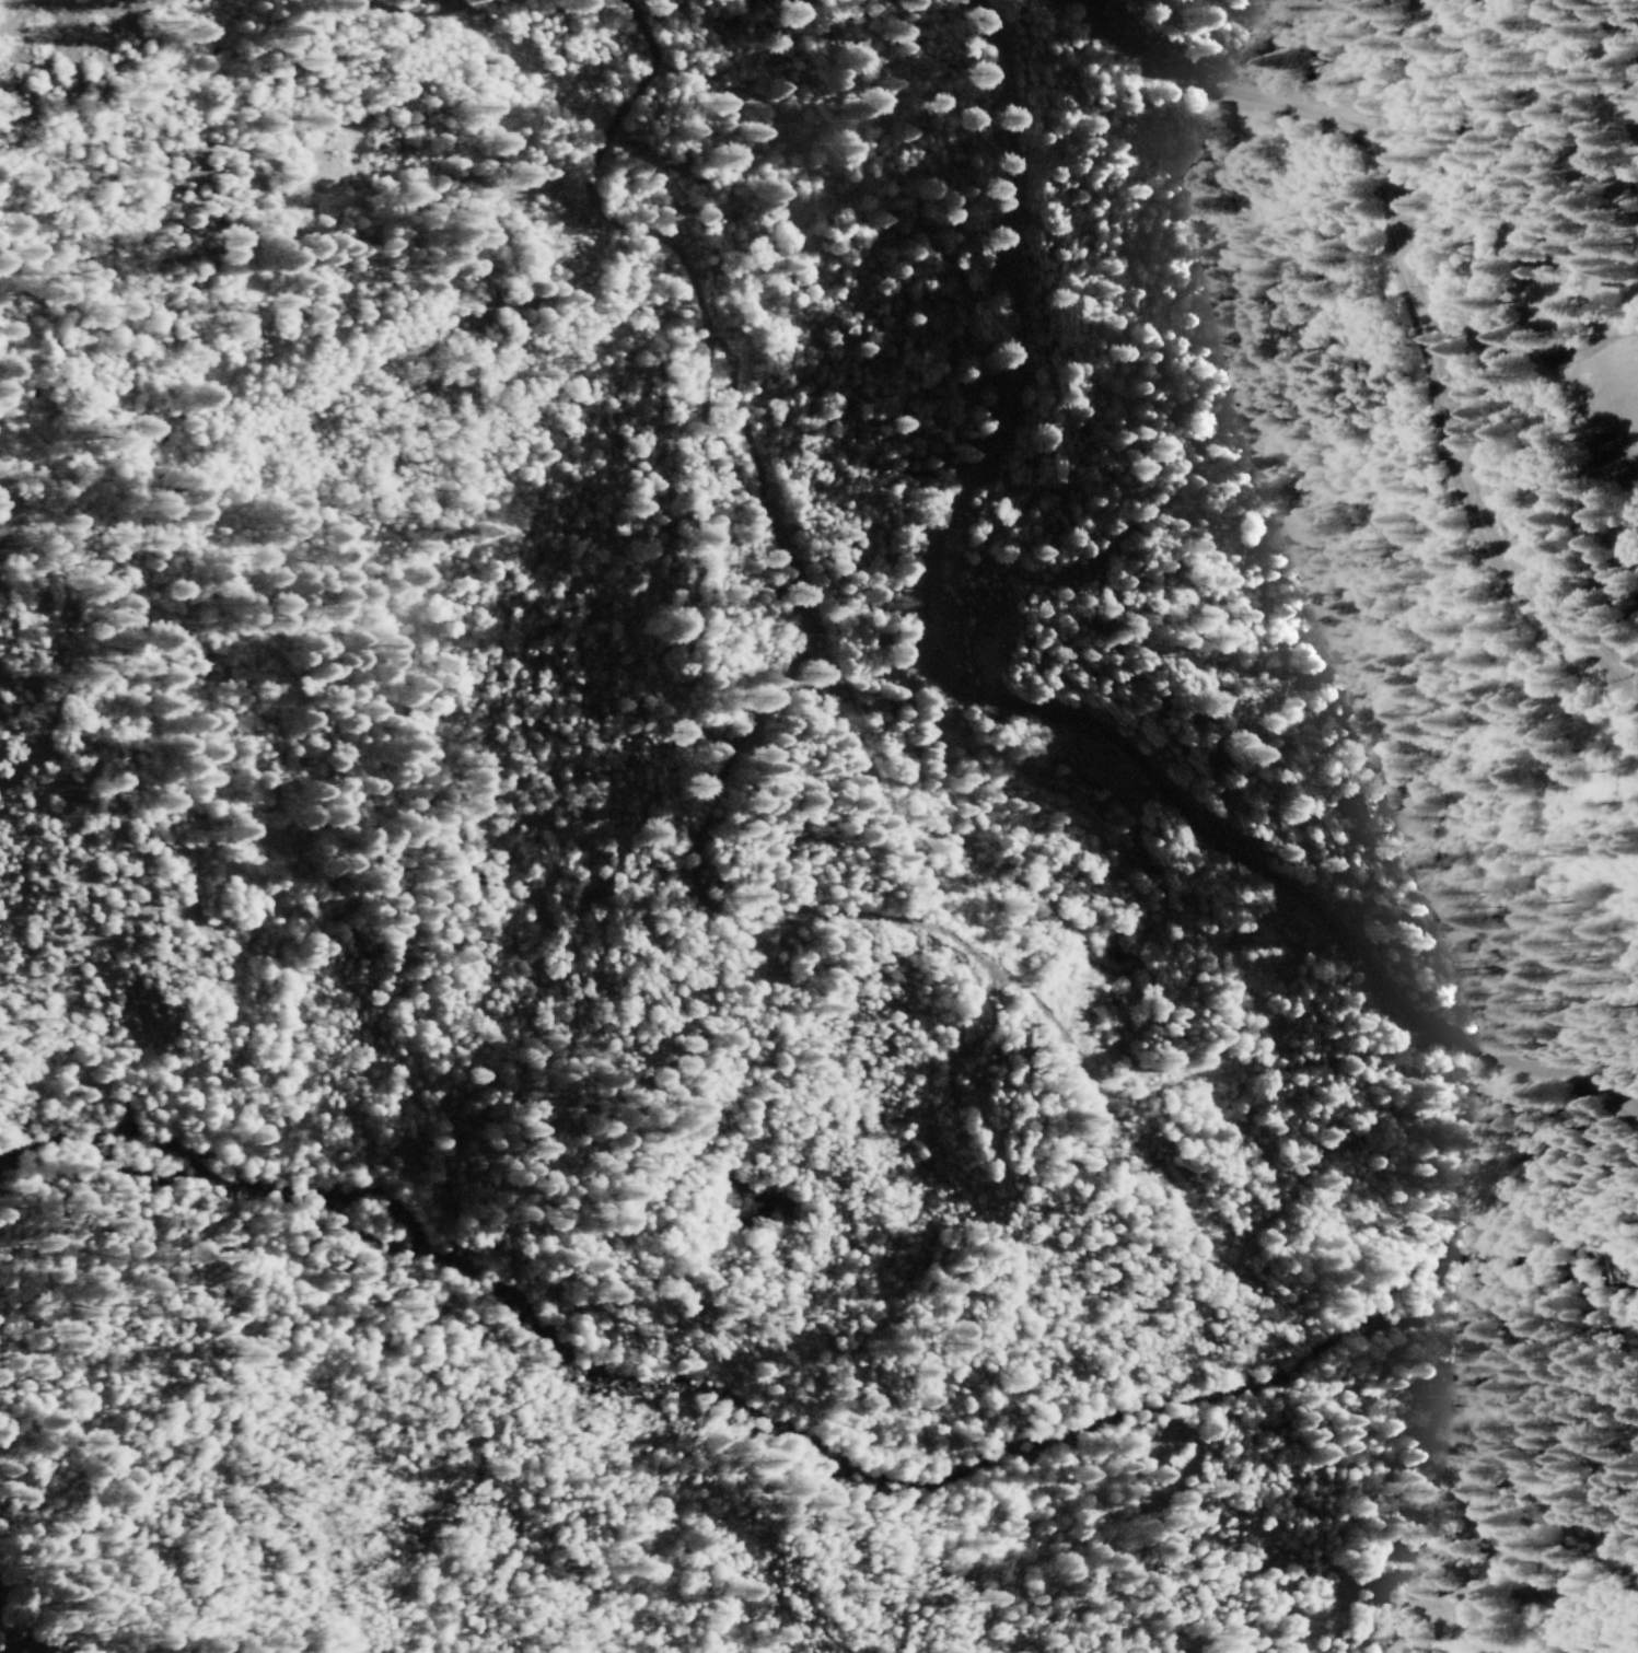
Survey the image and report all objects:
road: (1369, 132)
road: (998, 720)

